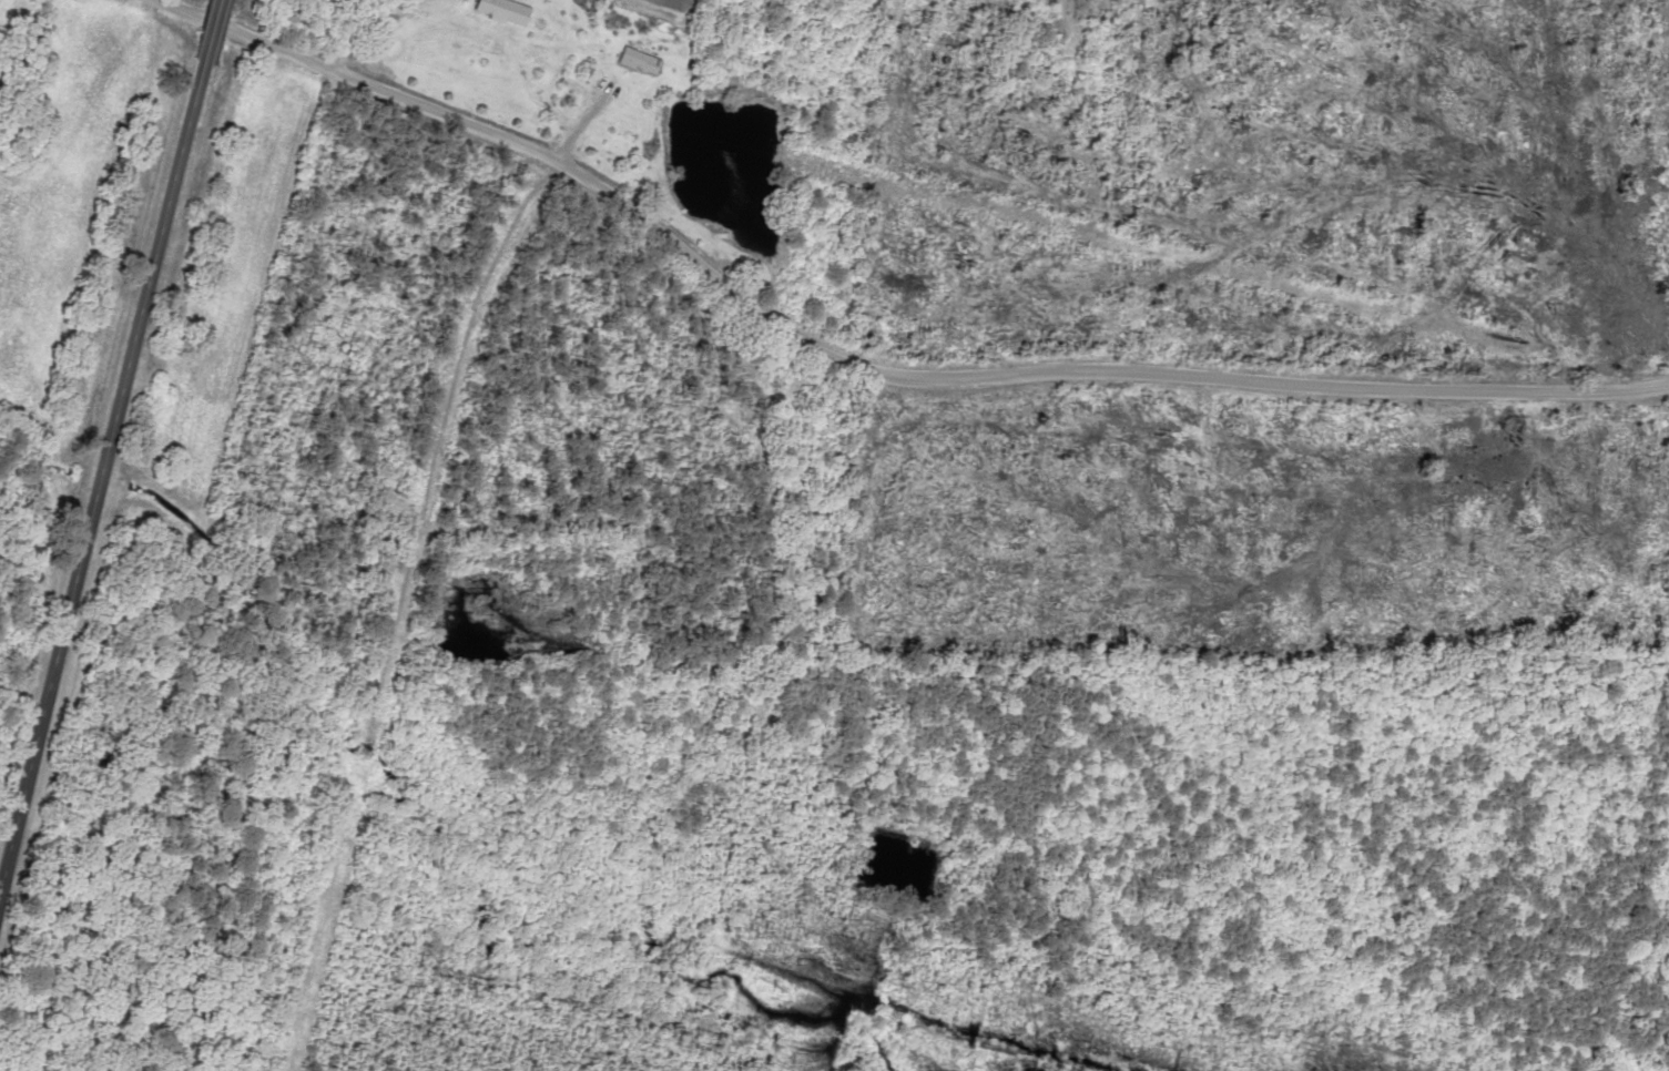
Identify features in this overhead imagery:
building: (500, 11)
road: (202, 30)
building: (635, 61)
road: (885, 339)
road: (96, 461)

